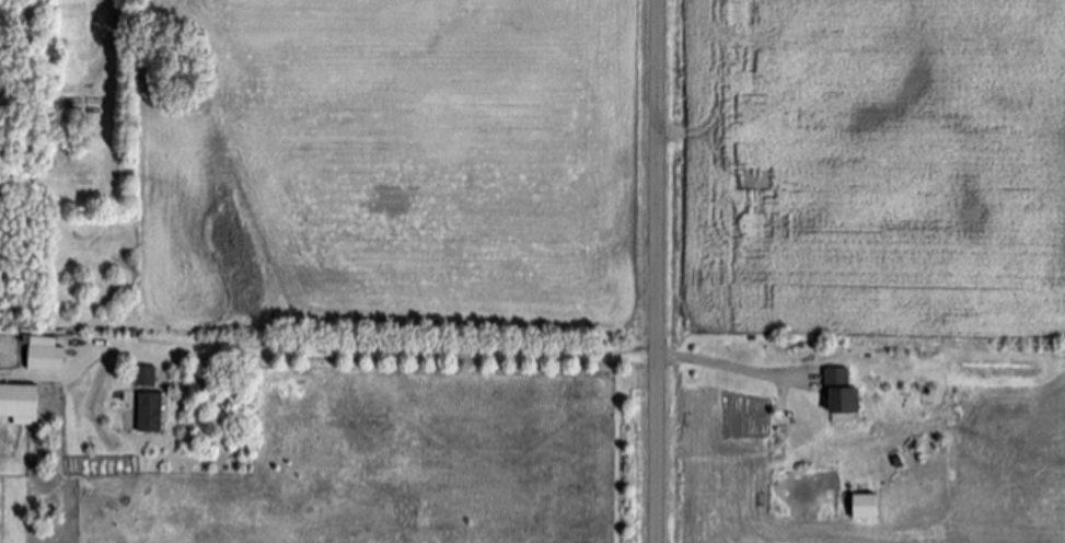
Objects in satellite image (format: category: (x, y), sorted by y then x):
road: (658, 271)
building: (45, 355)
road: (482, 355)
building: (148, 378)
building: (842, 393)
building: (22, 403)
building: (152, 414)
building: (865, 508)

